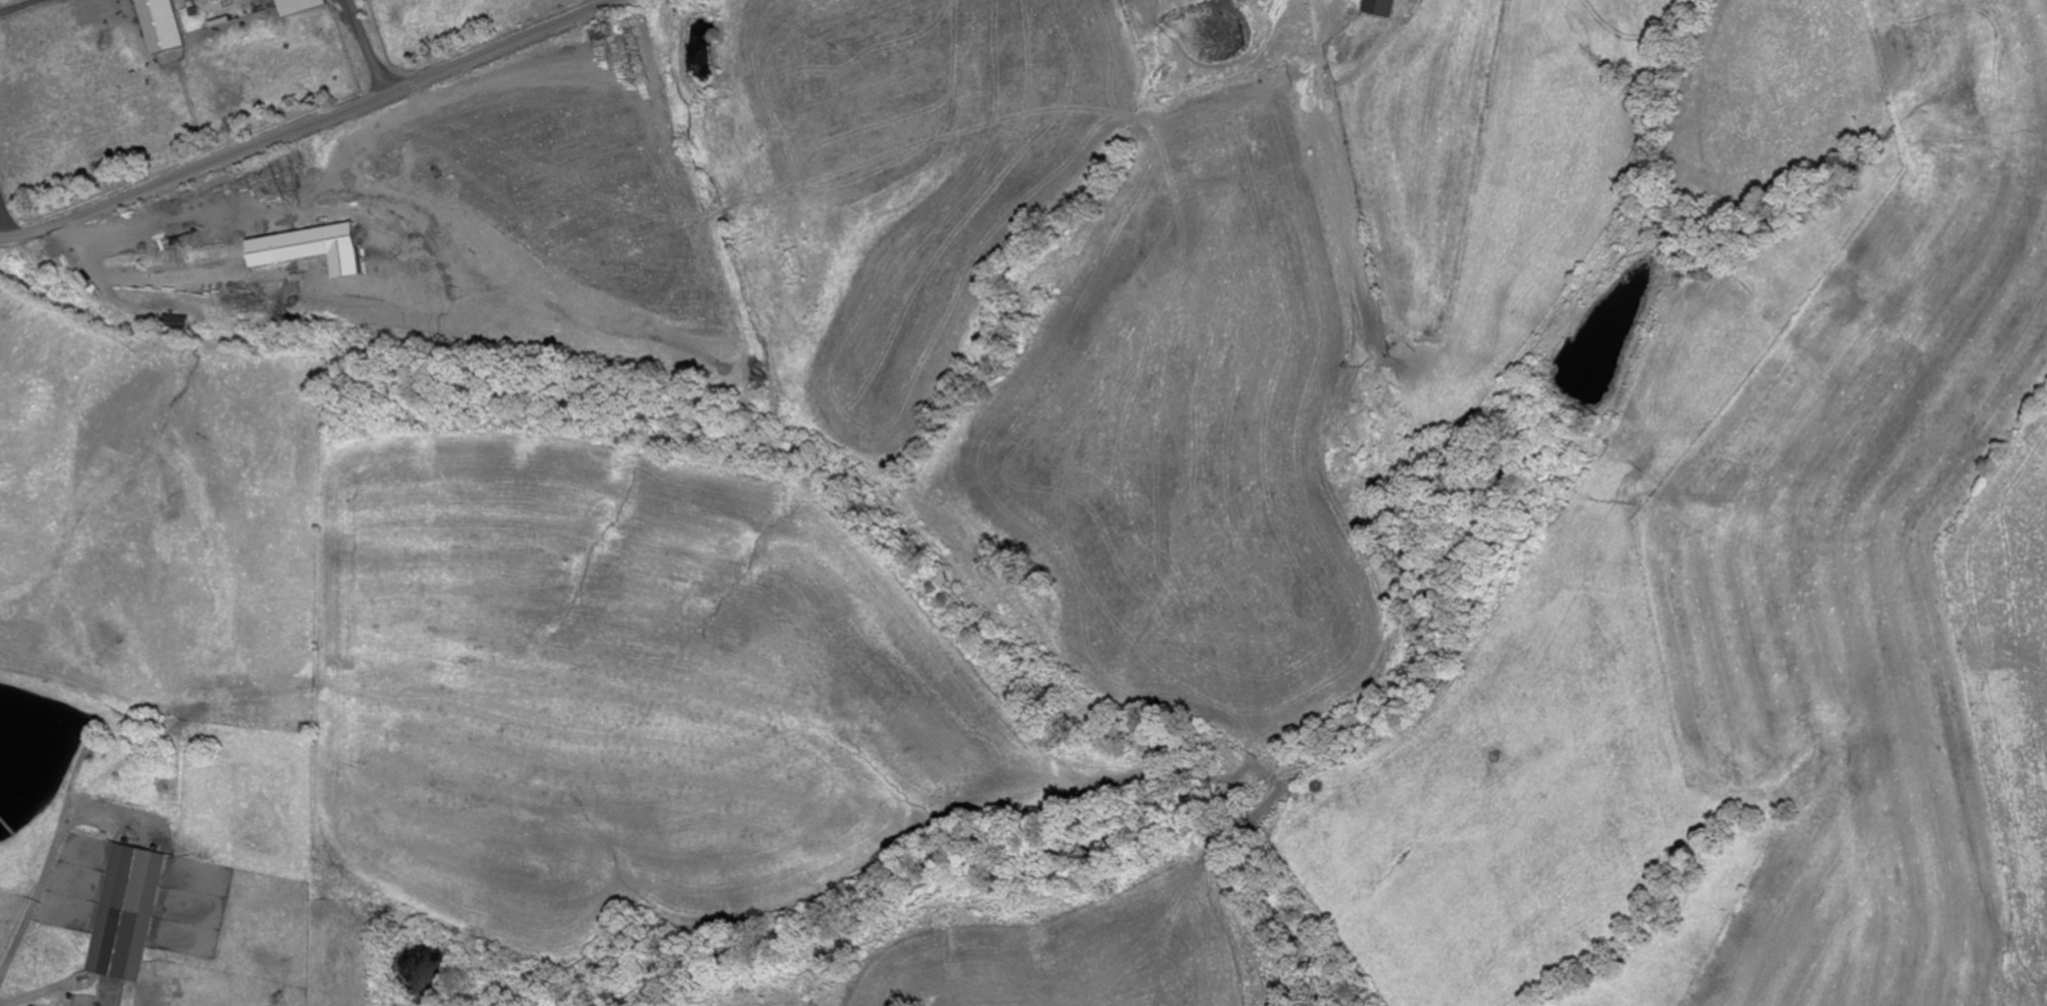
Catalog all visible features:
building: (1382, 8)
building: (160, 25)
road: (306, 123)
building: (176, 321)
building: (235, 706)
road: (57, 836)
building: (120, 942)

